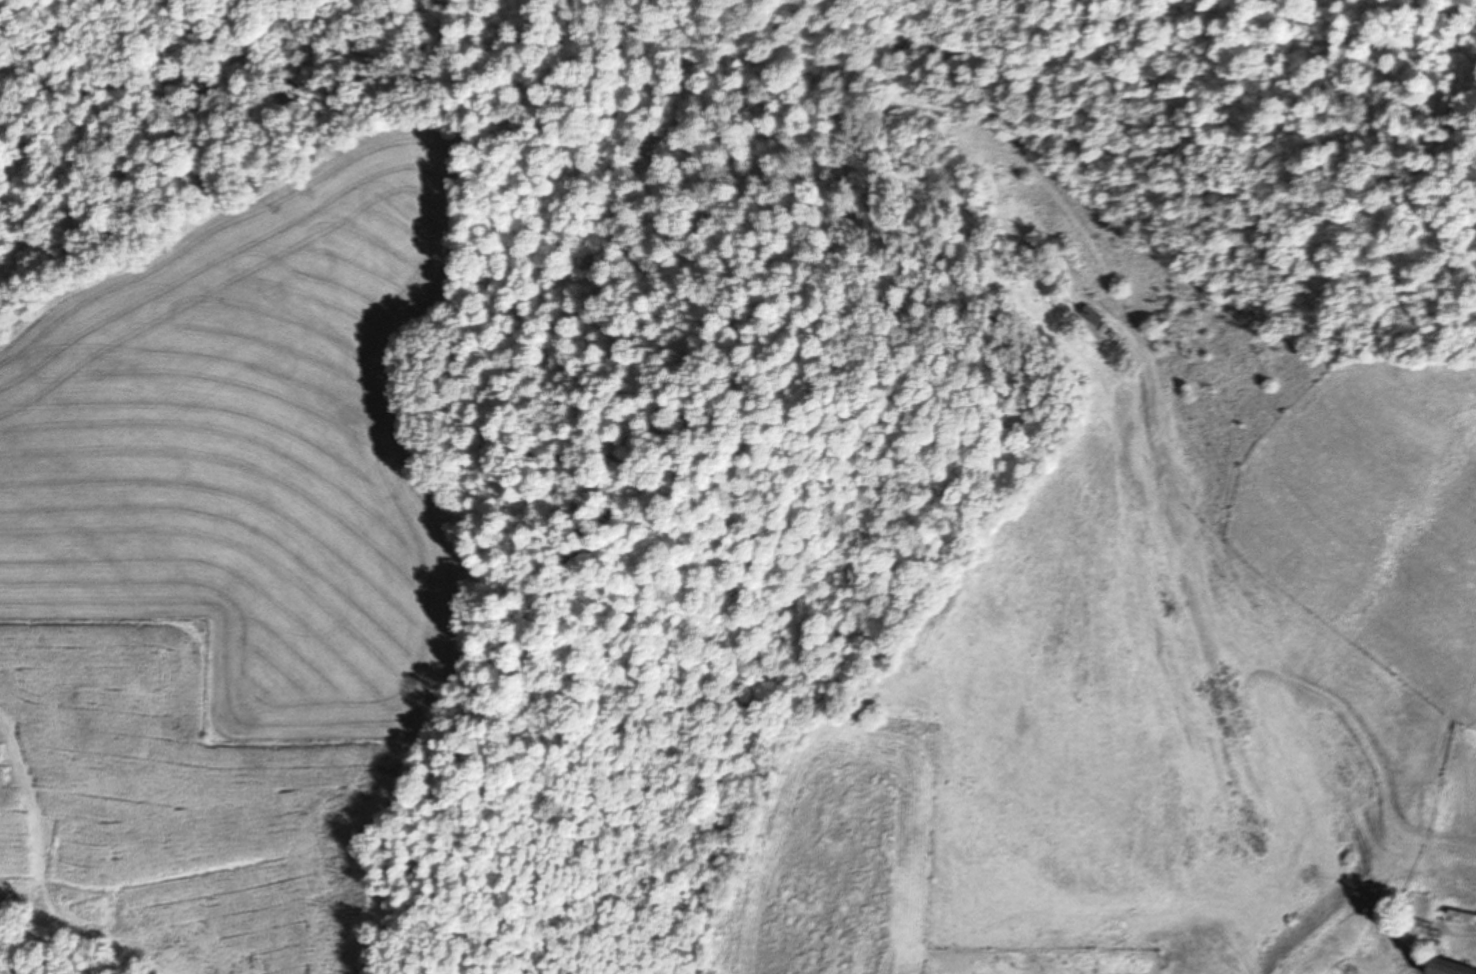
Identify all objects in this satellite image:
building: (1093, 317)
building: (1446, 967)

